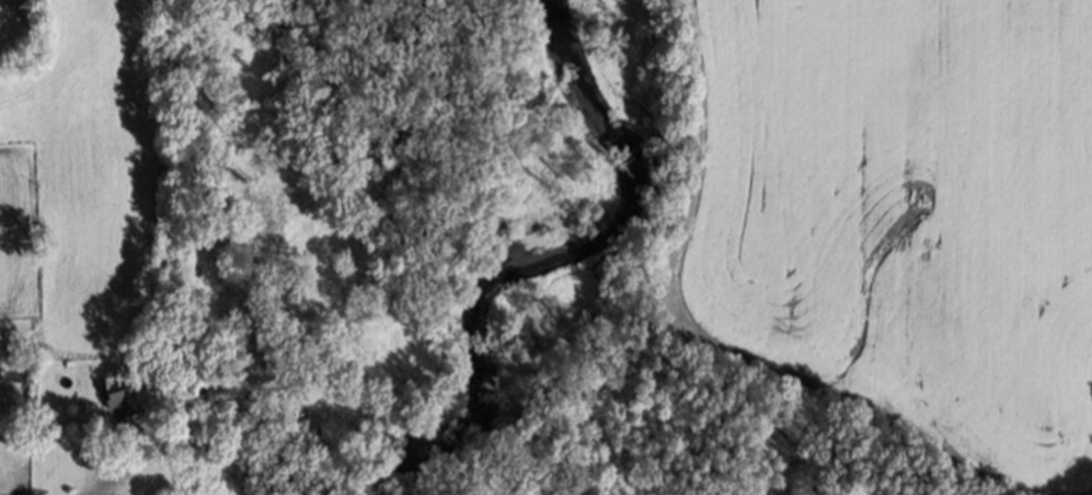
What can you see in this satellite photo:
crop: (904, 216)
building: (37, 232)
river: (547, 254)
building: (65, 357)
building: (21, 376)
building: (114, 394)
road: (104, 475)

